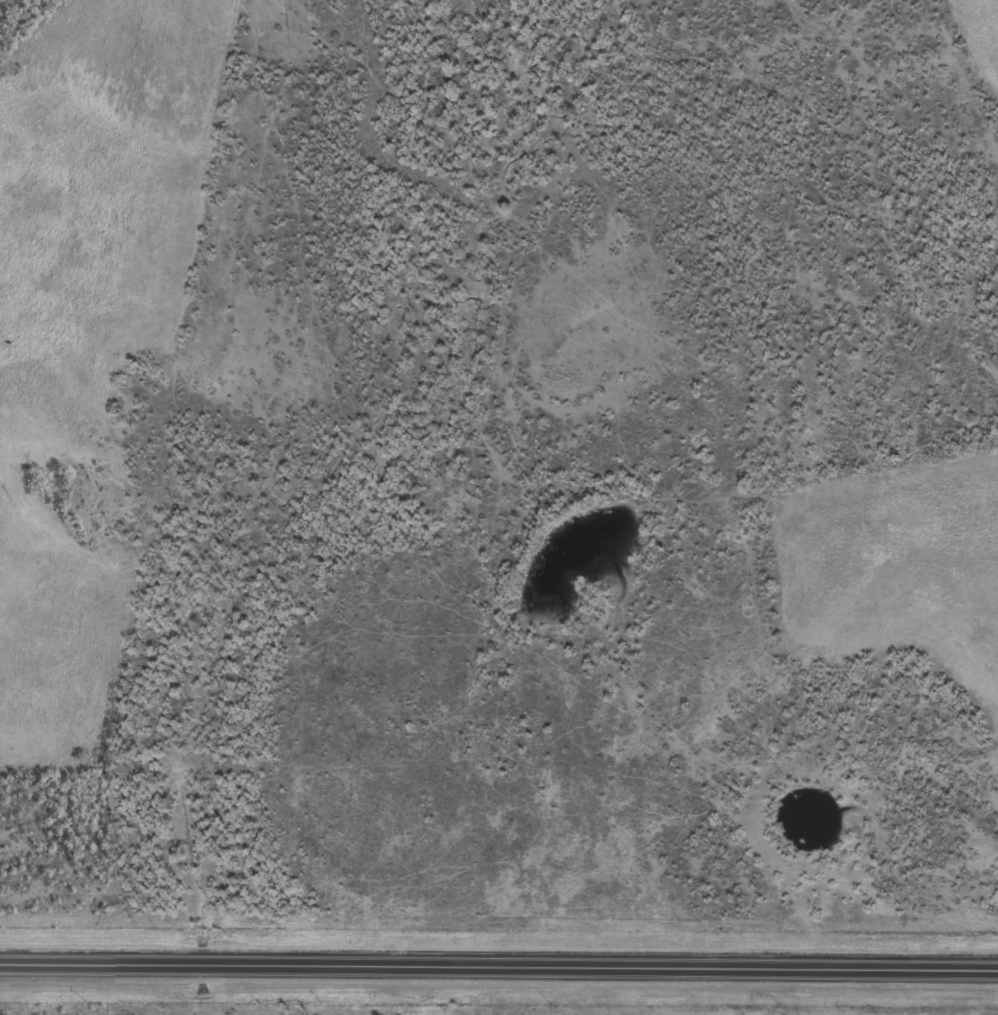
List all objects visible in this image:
road: (499, 971)

